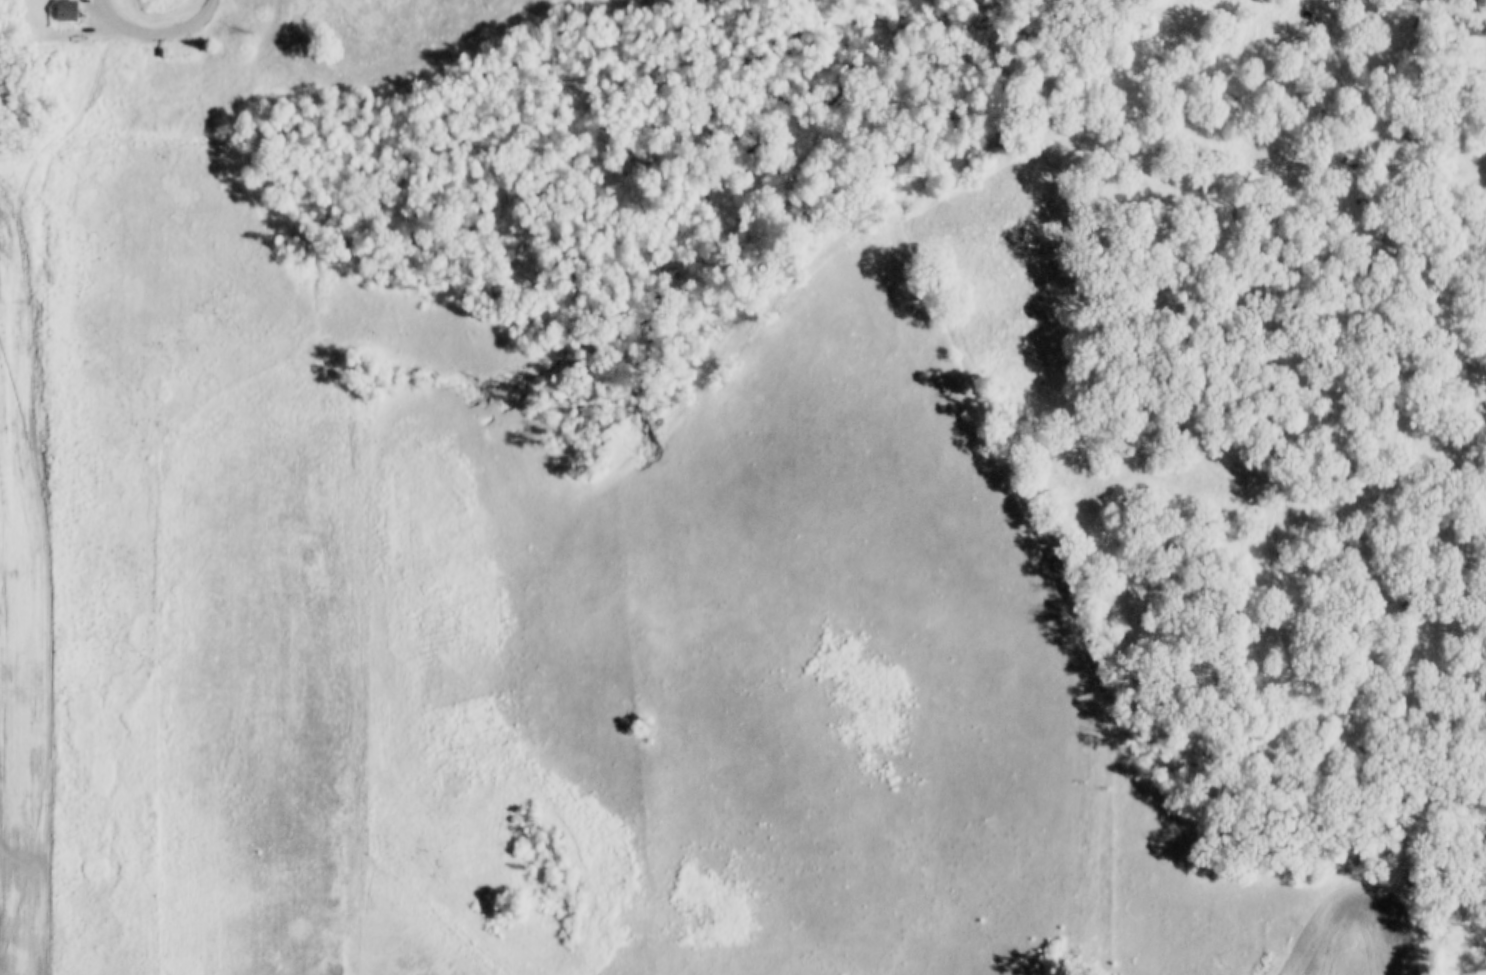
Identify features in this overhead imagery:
building: (68, 11)
road: (159, 32)
road: (89, 115)

